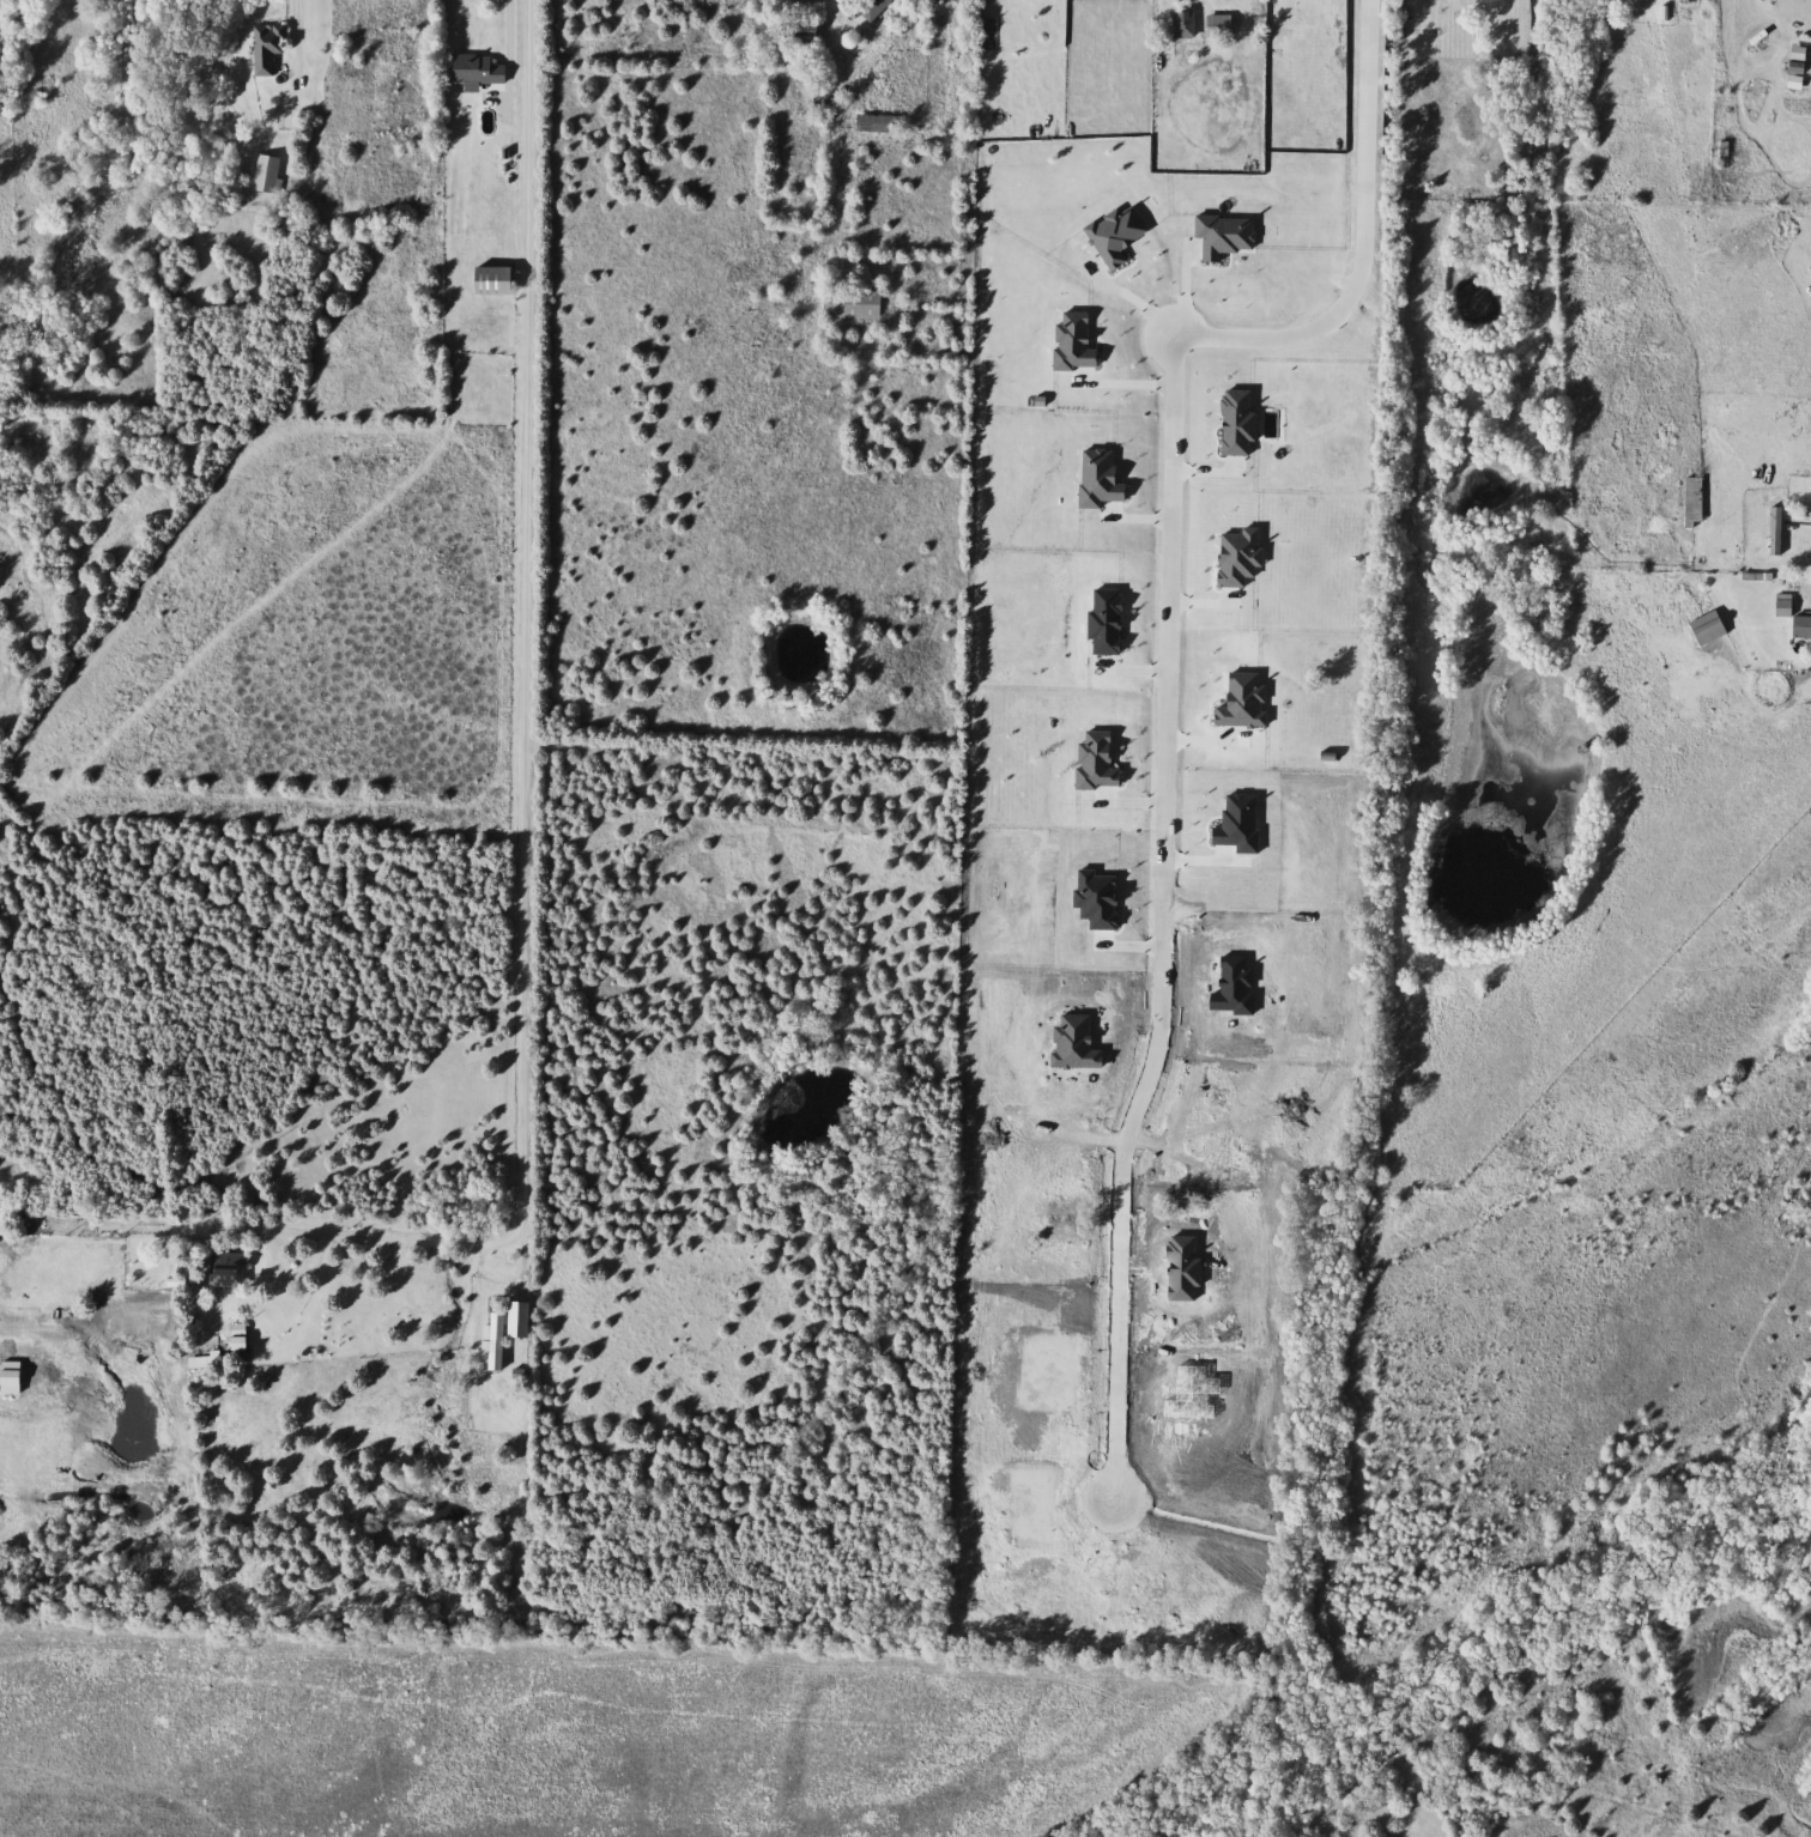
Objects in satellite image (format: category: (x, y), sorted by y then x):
road: (295, 1)
road: (831, 1)
building: (873, 7)
road: (509, 24)
building: (1186, 25)
building: (1223, 28)
building: (269, 48)
building: (480, 71)
building: (882, 123)
building: (267, 174)
road: (1801, 219)
building: (1746, 240)
building: (497, 280)
road: (1141, 298)
building: (854, 305)
building: (1696, 501)
building: (1712, 628)
building: (1803, 629)
building: (1248, 635)
road: (1162, 683)
road: (527, 714)
building: (229, 1269)
road: (523, 1272)
road: (479, 1306)

